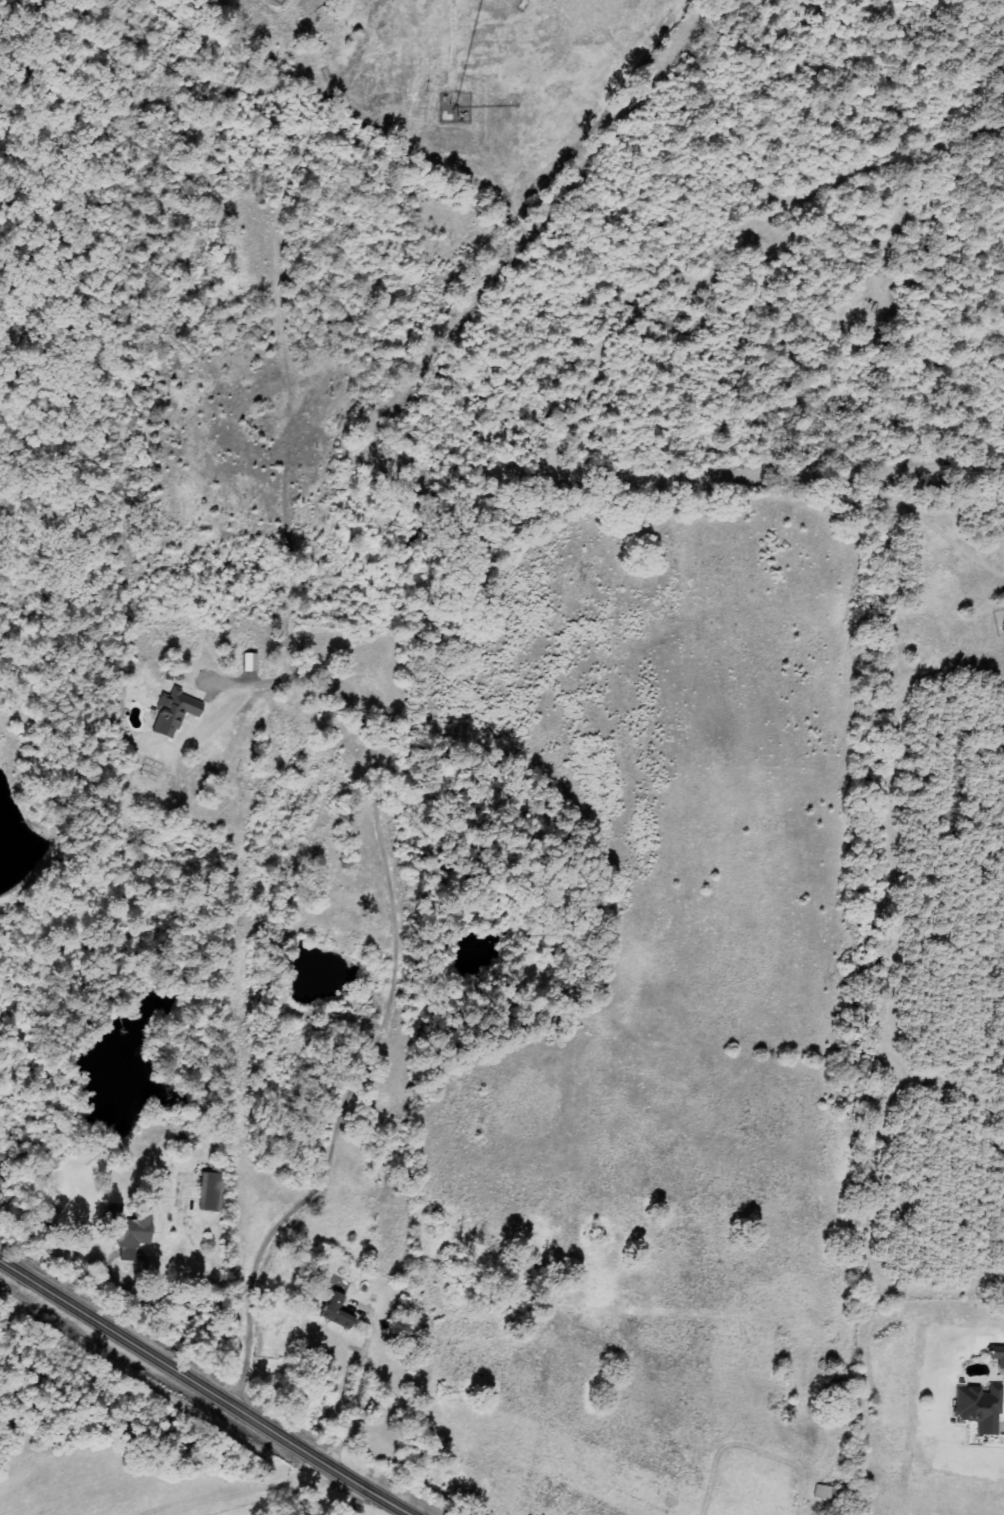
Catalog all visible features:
building: (251, 661)
building: (175, 712)
road: (391, 994)
building: (210, 1191)
building: (130, 1243)
building: (338, 1311)
building: (998, 1357)
road: (207, 1384)
building: (980, 1407)

